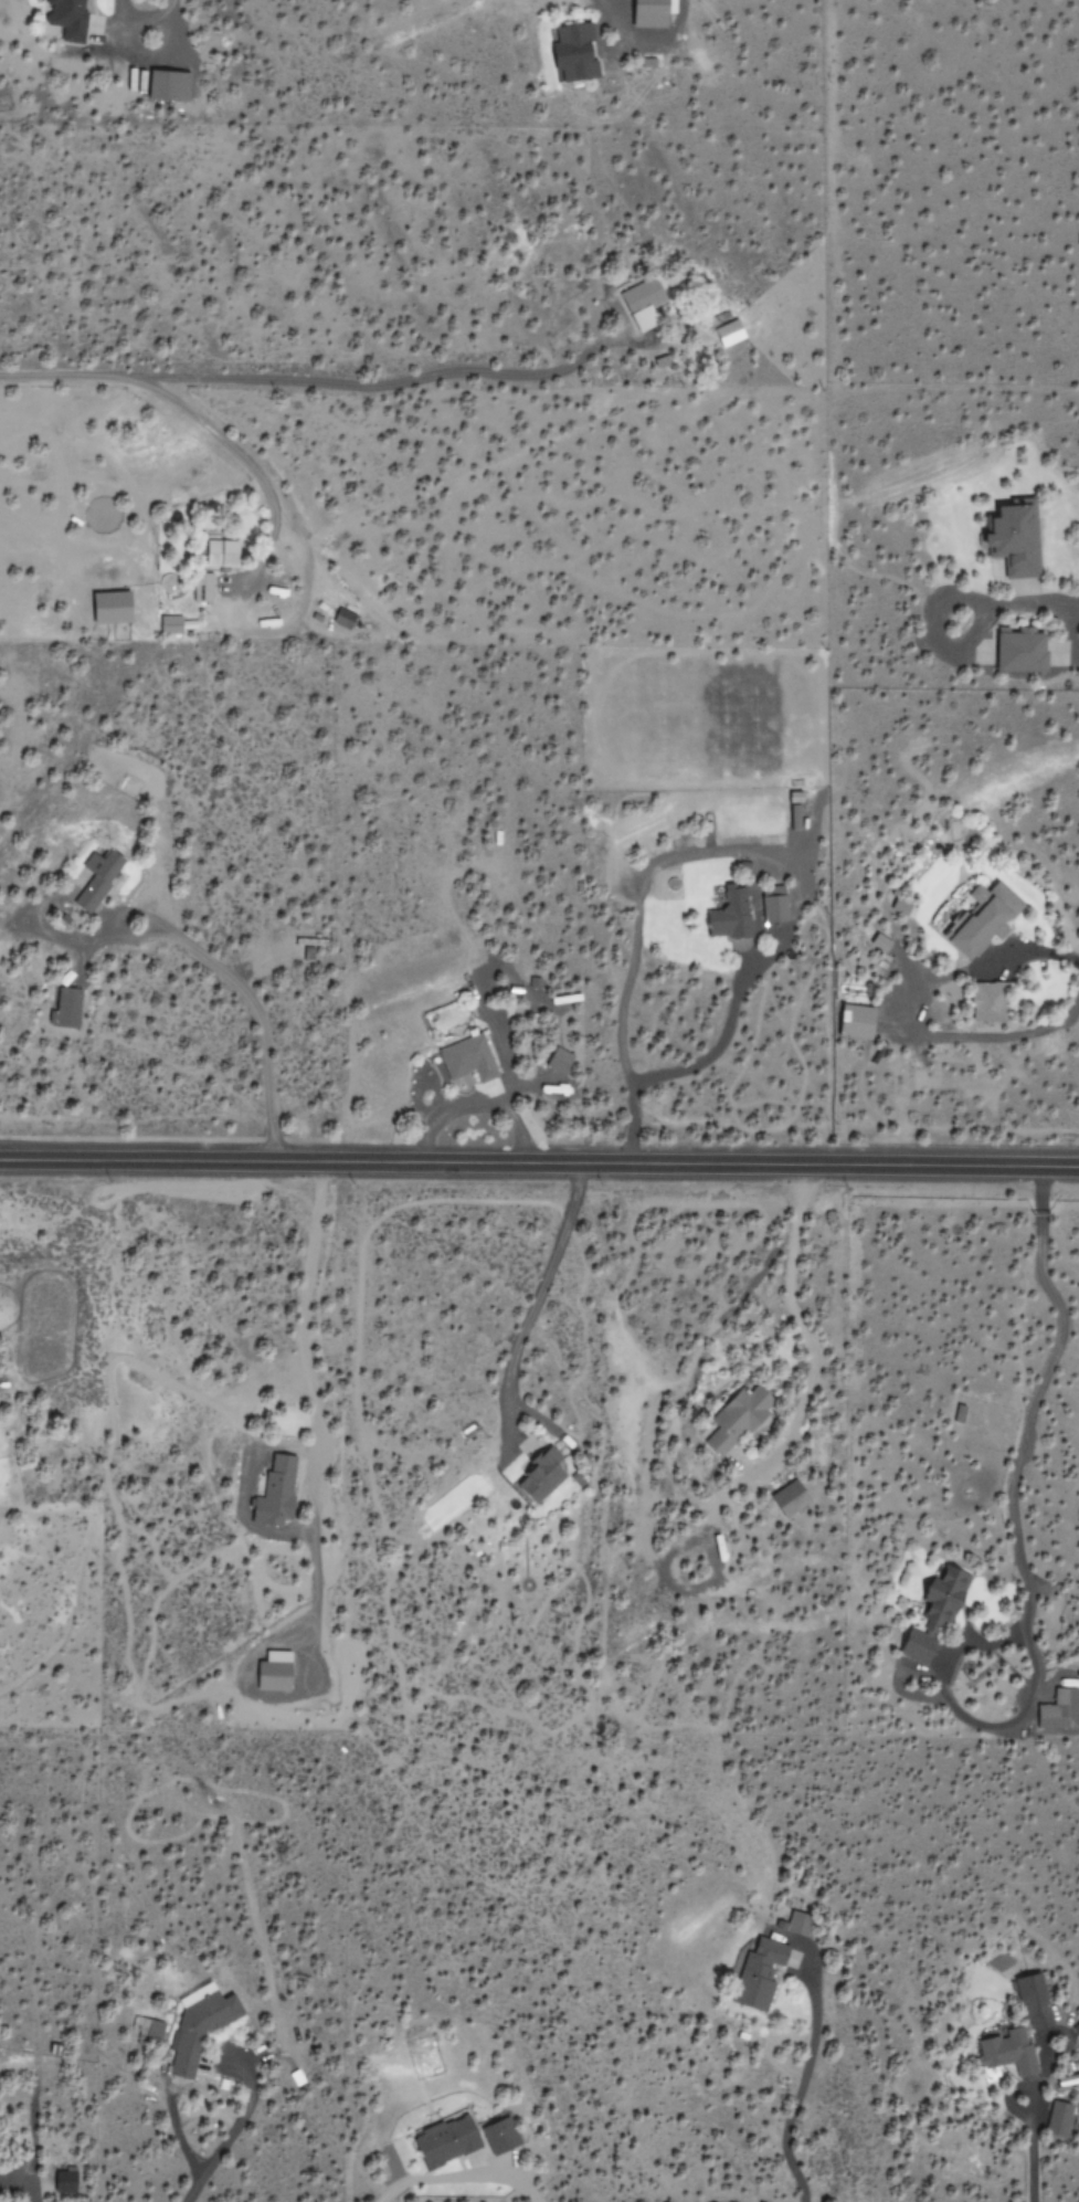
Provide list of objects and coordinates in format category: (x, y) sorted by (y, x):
building: (650, 13)
building: (70, 20)
building: (574, 53)
building: (168, 86)
building: (642, 303)
building: (729, 334)
building: (1018, 537)
building: (221, 552)
building: (204, 587)
building: (115, 607)
building: (346, 618)
building: (172, 624)
building: (1011, 649)
building: (95, 877)
building: (903, 906)
building: (776, 908)
building: (728, 912)
building: (984, 918)
building: (884, 942)
building: (988, 1001)
building: (66, 1007)
building: (856, 1020)
road: (274, 1028)
building: (467, 1057)
building: (559, 1061)
road: (539, 1160)
building: (737, 1418)
building: (539, 1476)
building: (276, 1490)
building: (790, 1498)
building: (934, 1610)
building: (277, 1671)
building: (1059, 1710)
building: (798, 1924)
building: (763, 1964)
building: (1037, 2001)
building: (147, 2025)
building: (198, 2026)
building: (1012, 2036)
building: (1061, 2117)
building: (500, 2138)
building: (446, 2142)
building: (64, 2182)

